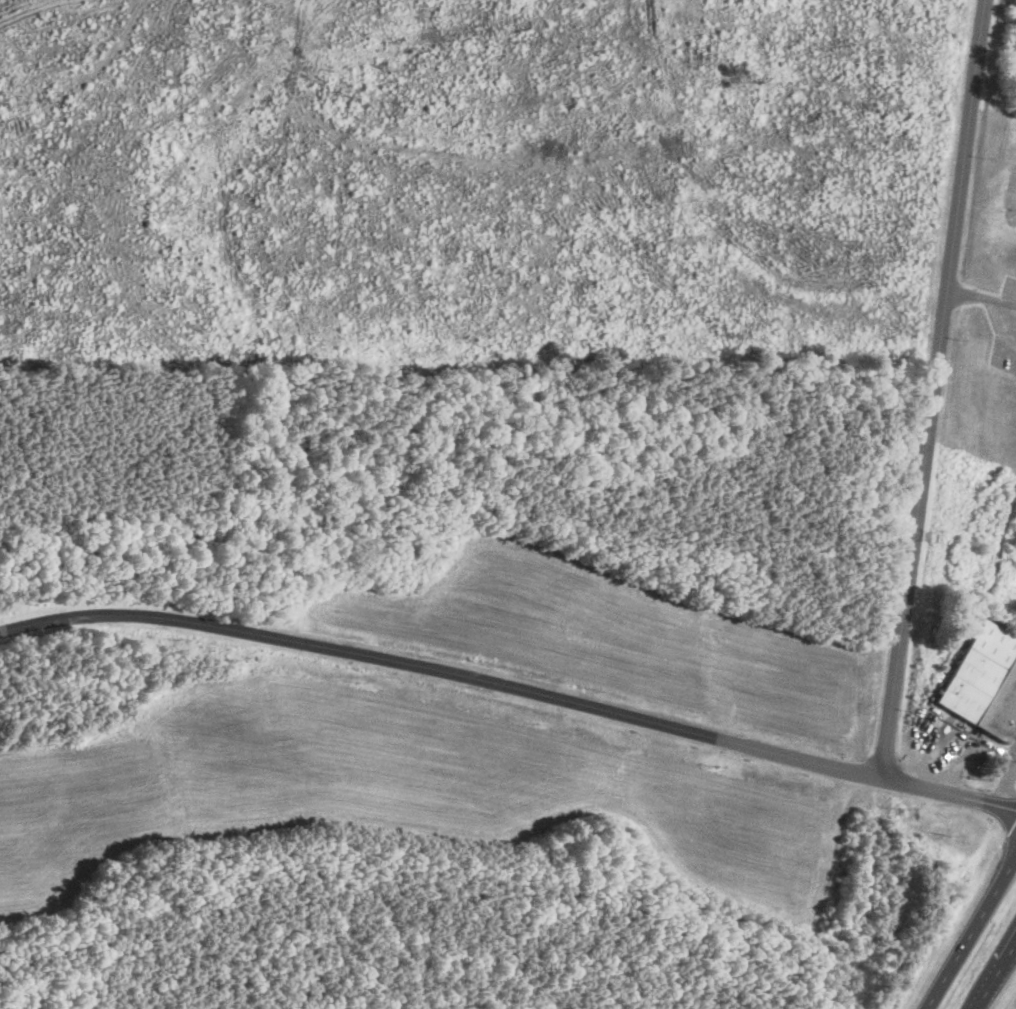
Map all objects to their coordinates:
road: (982, 295)
road: (936, 388)
building: (984, 683)
road: (511, 685)
road: (1005, 784)
road: (970, 931)
road: (997, 977)

